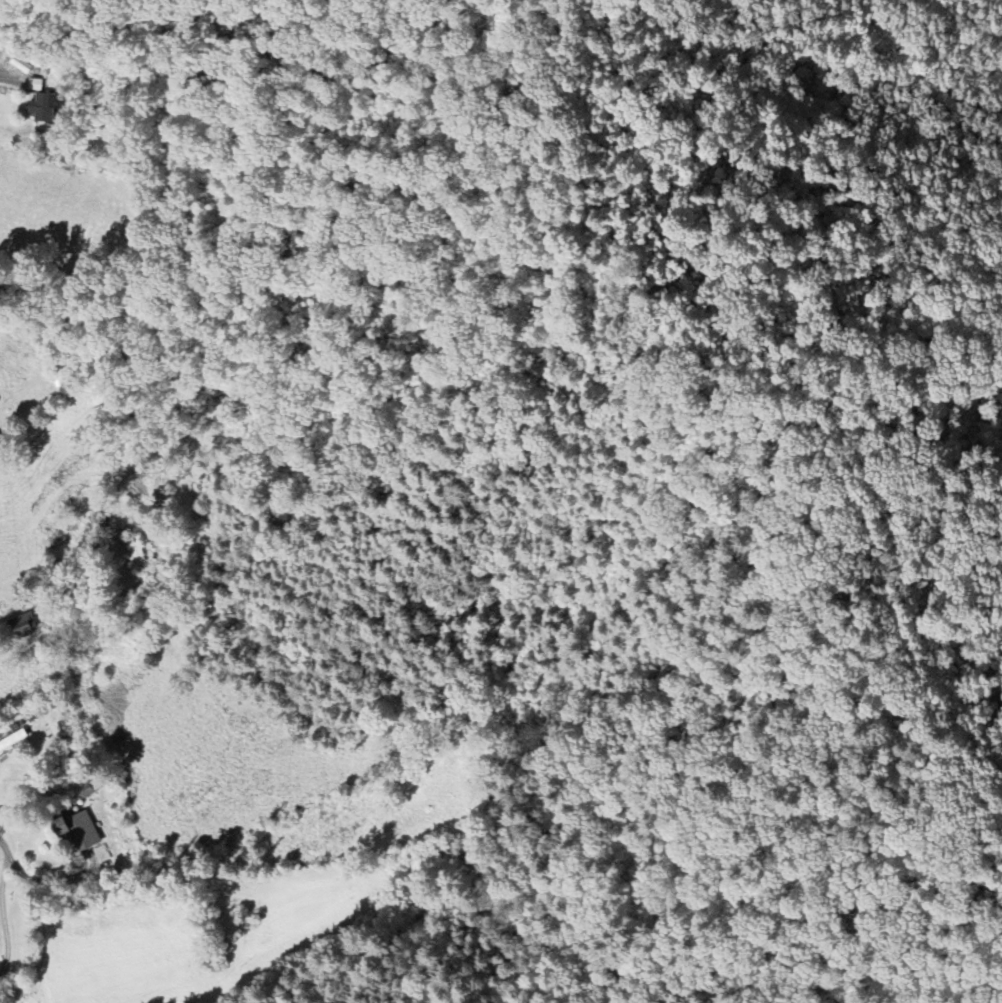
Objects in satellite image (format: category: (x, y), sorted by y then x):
building: (135, 554)
building: (22, 626)
building: (89, 789)
building: (77, 832)
building: (102, 854)
road: (2, 858)
road: (43, 878)
road: (4, 939)

